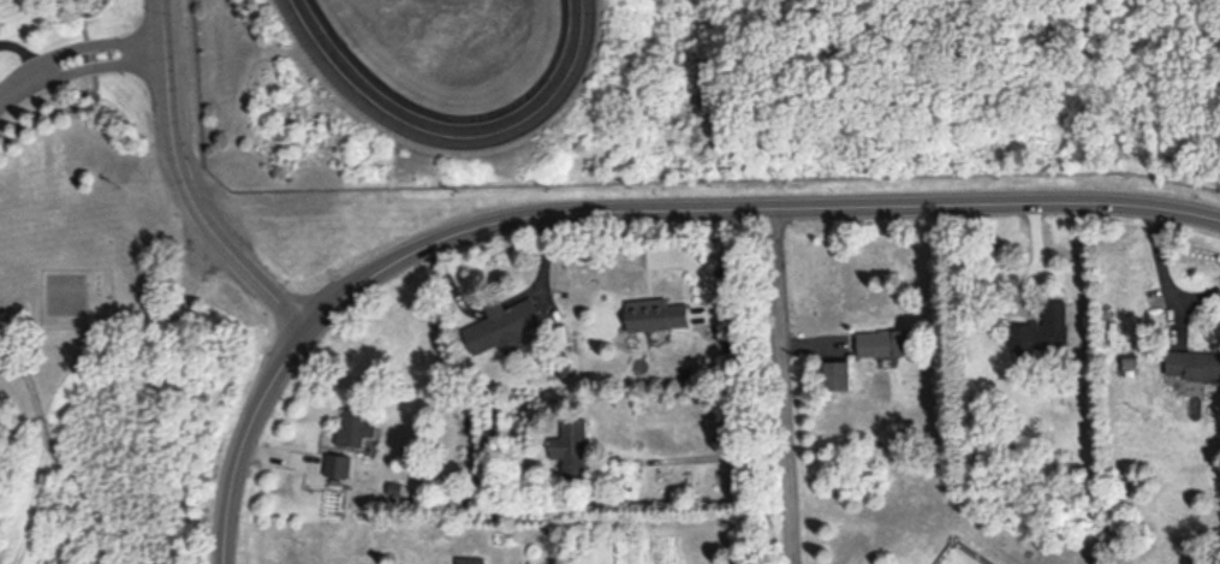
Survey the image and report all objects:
road: (97, 32)
road: (24, 46)
road: (103, 55)
road: (20, 81)
raceway: (454, 132)
road: (186, 185)
road: (748, 204)
road: (541, 267)
road: (1165, 272)
road: (452, 284)
road: (493, 305)
building: (655, 313)
building: (501, 325)
building: (1042, 328)
building: (883, 340)
building: (1195, 363)
building: (835, 373)
road: (781, 384)
building: (353, 427)
road: (243, 437)
building: (570, 445)
road: (712, 455)
building: (337, 463)
building: (468, 559)

